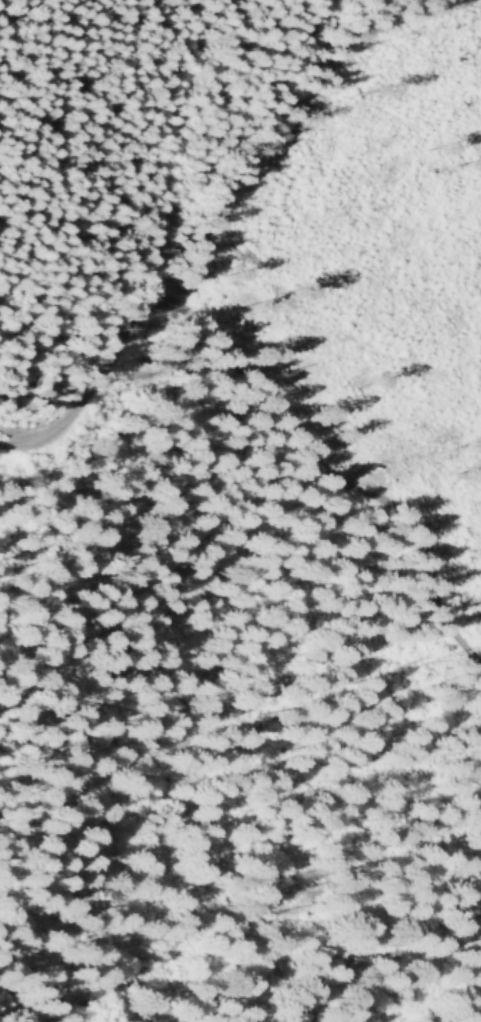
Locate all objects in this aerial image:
road: (260, 386)
road: (22, 435)

